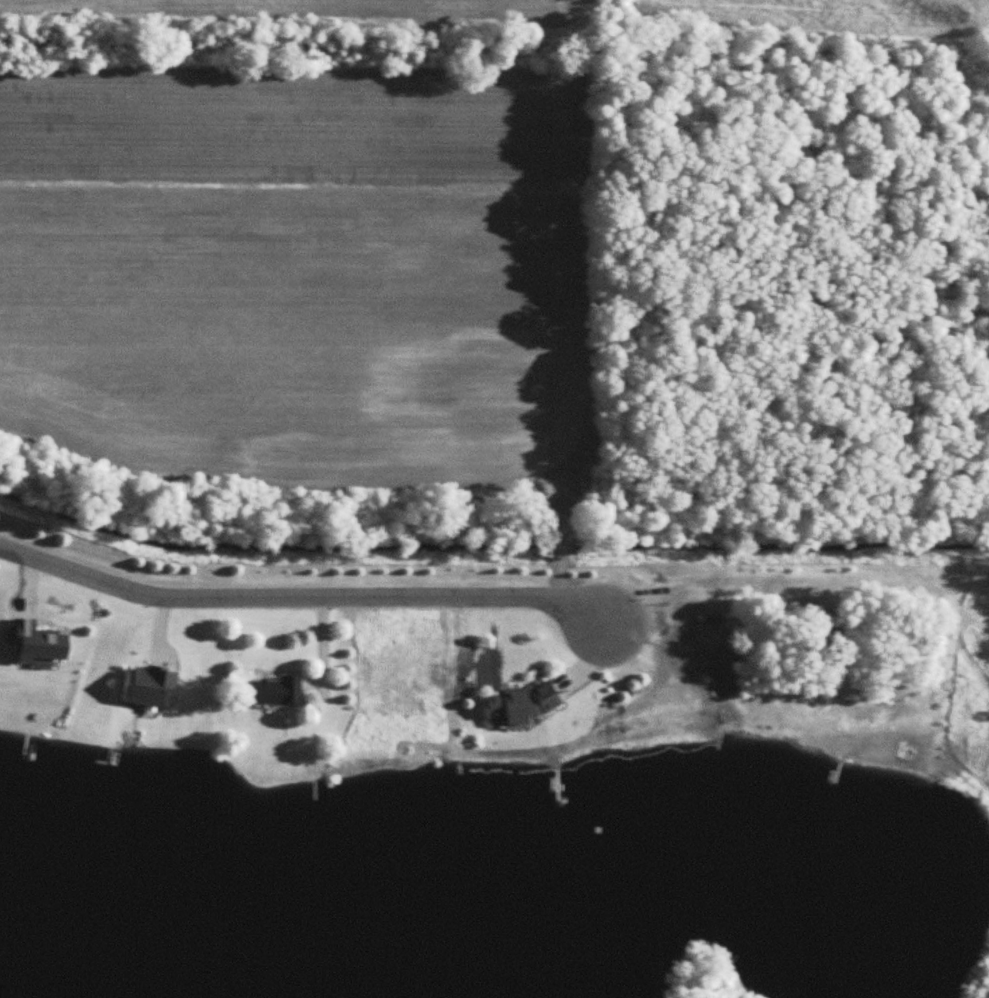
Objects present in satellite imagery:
road: (302, 597)
building: (148, 685)
building: (275, 692)
building: (523, 704)

